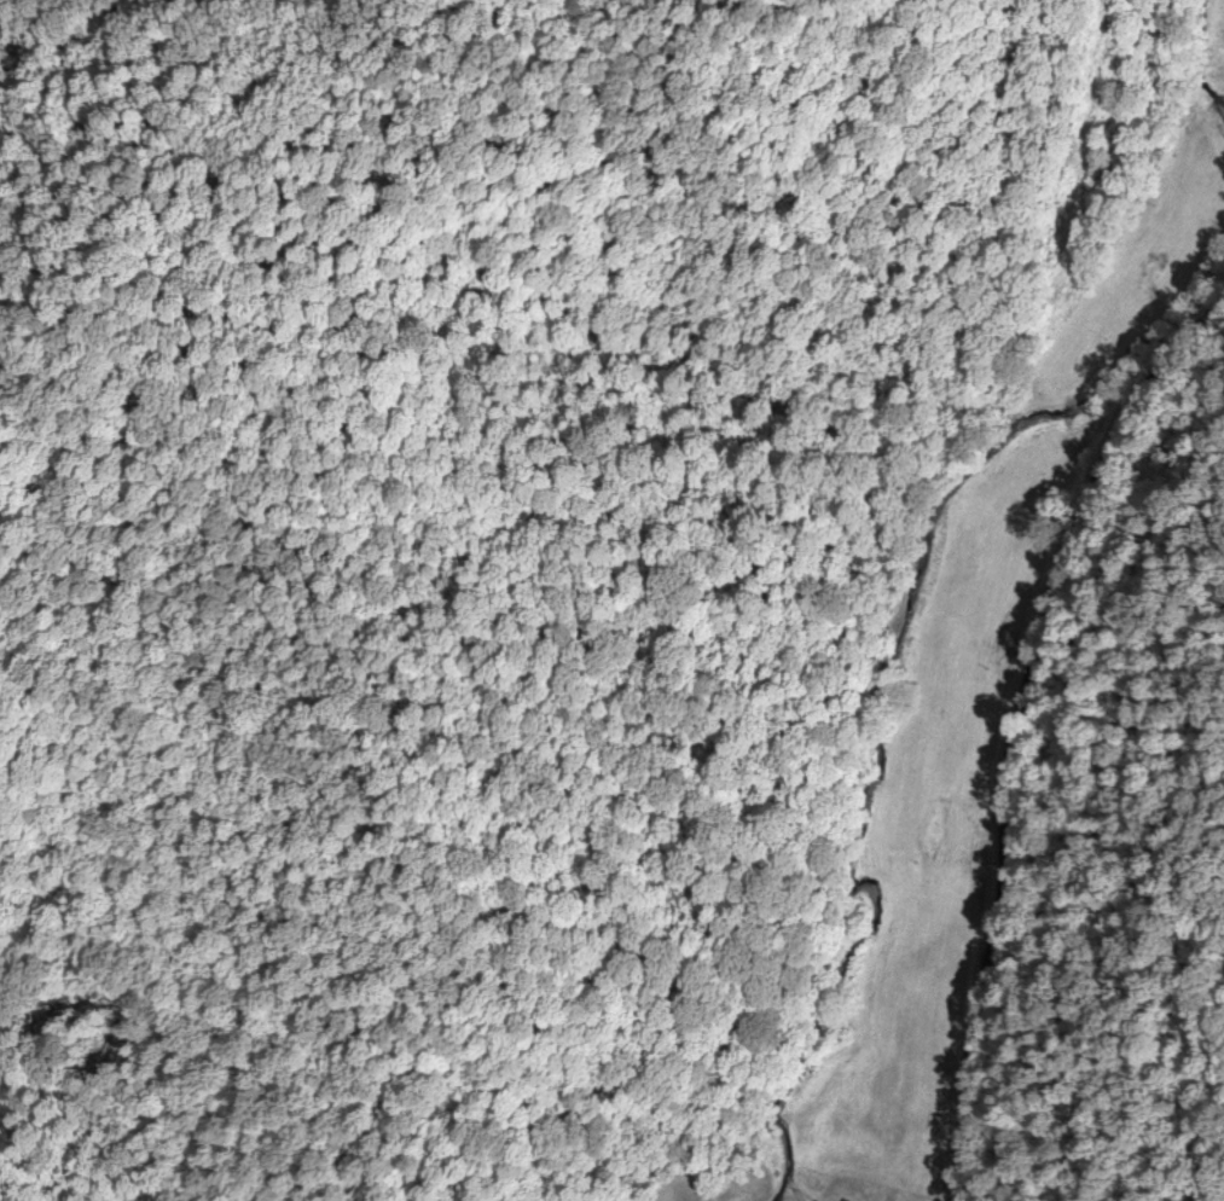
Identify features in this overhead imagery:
road: (1058, 765)

